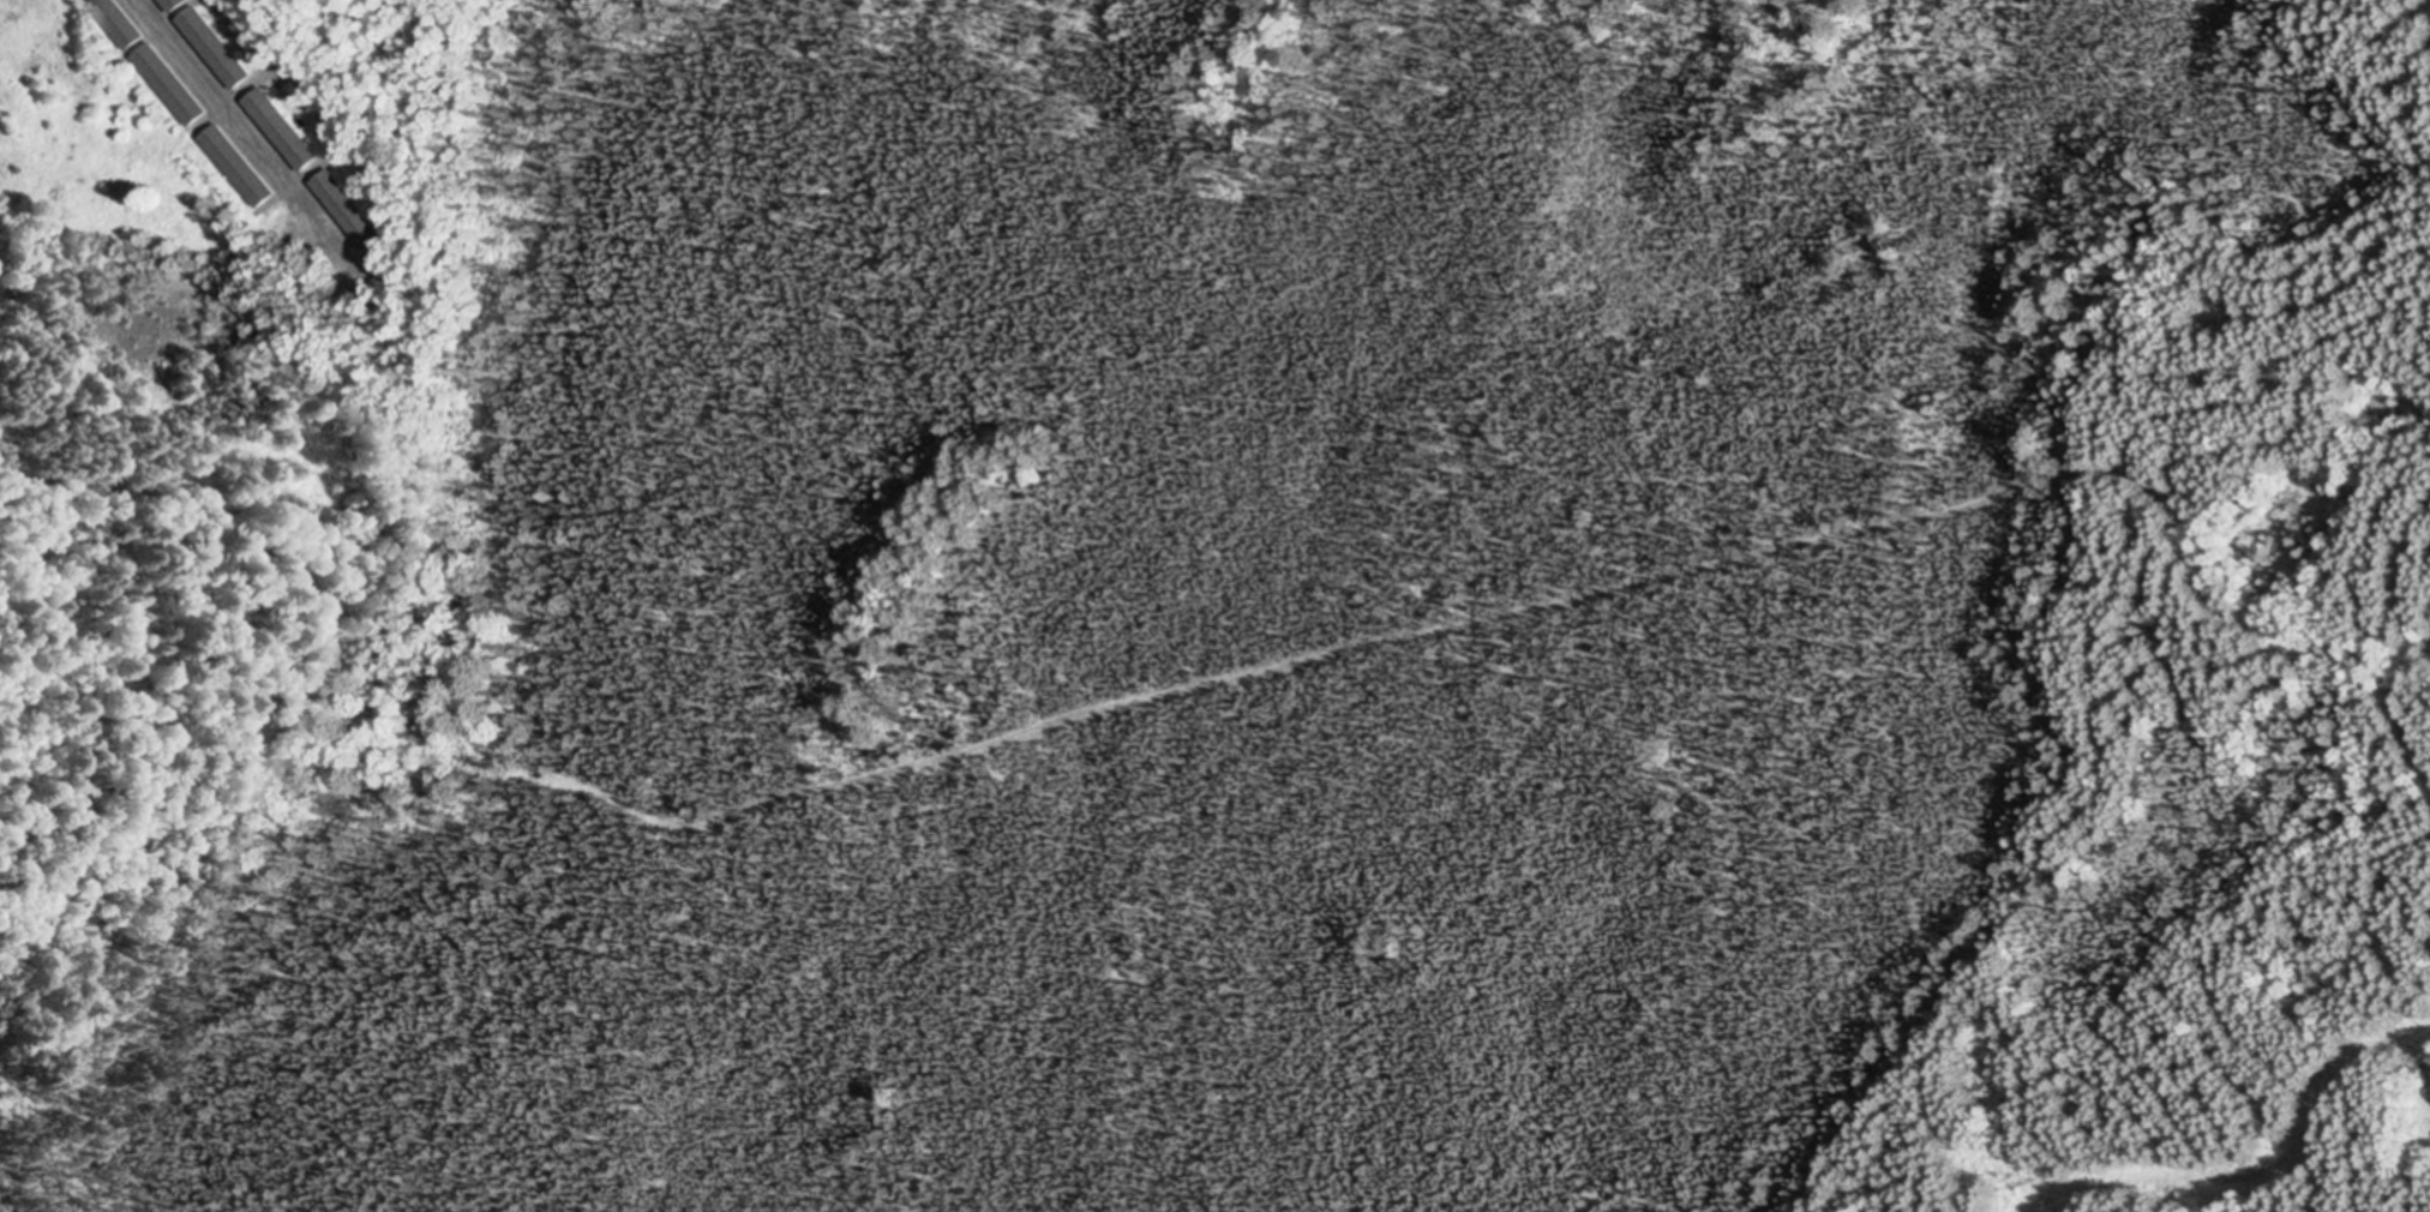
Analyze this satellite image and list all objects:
building: (175, 5)
building: (216, 48)
building: (145, 52)
road: (245, 125)
building: (283, 130)
building: (350, 211)
road: (2420, 604)

